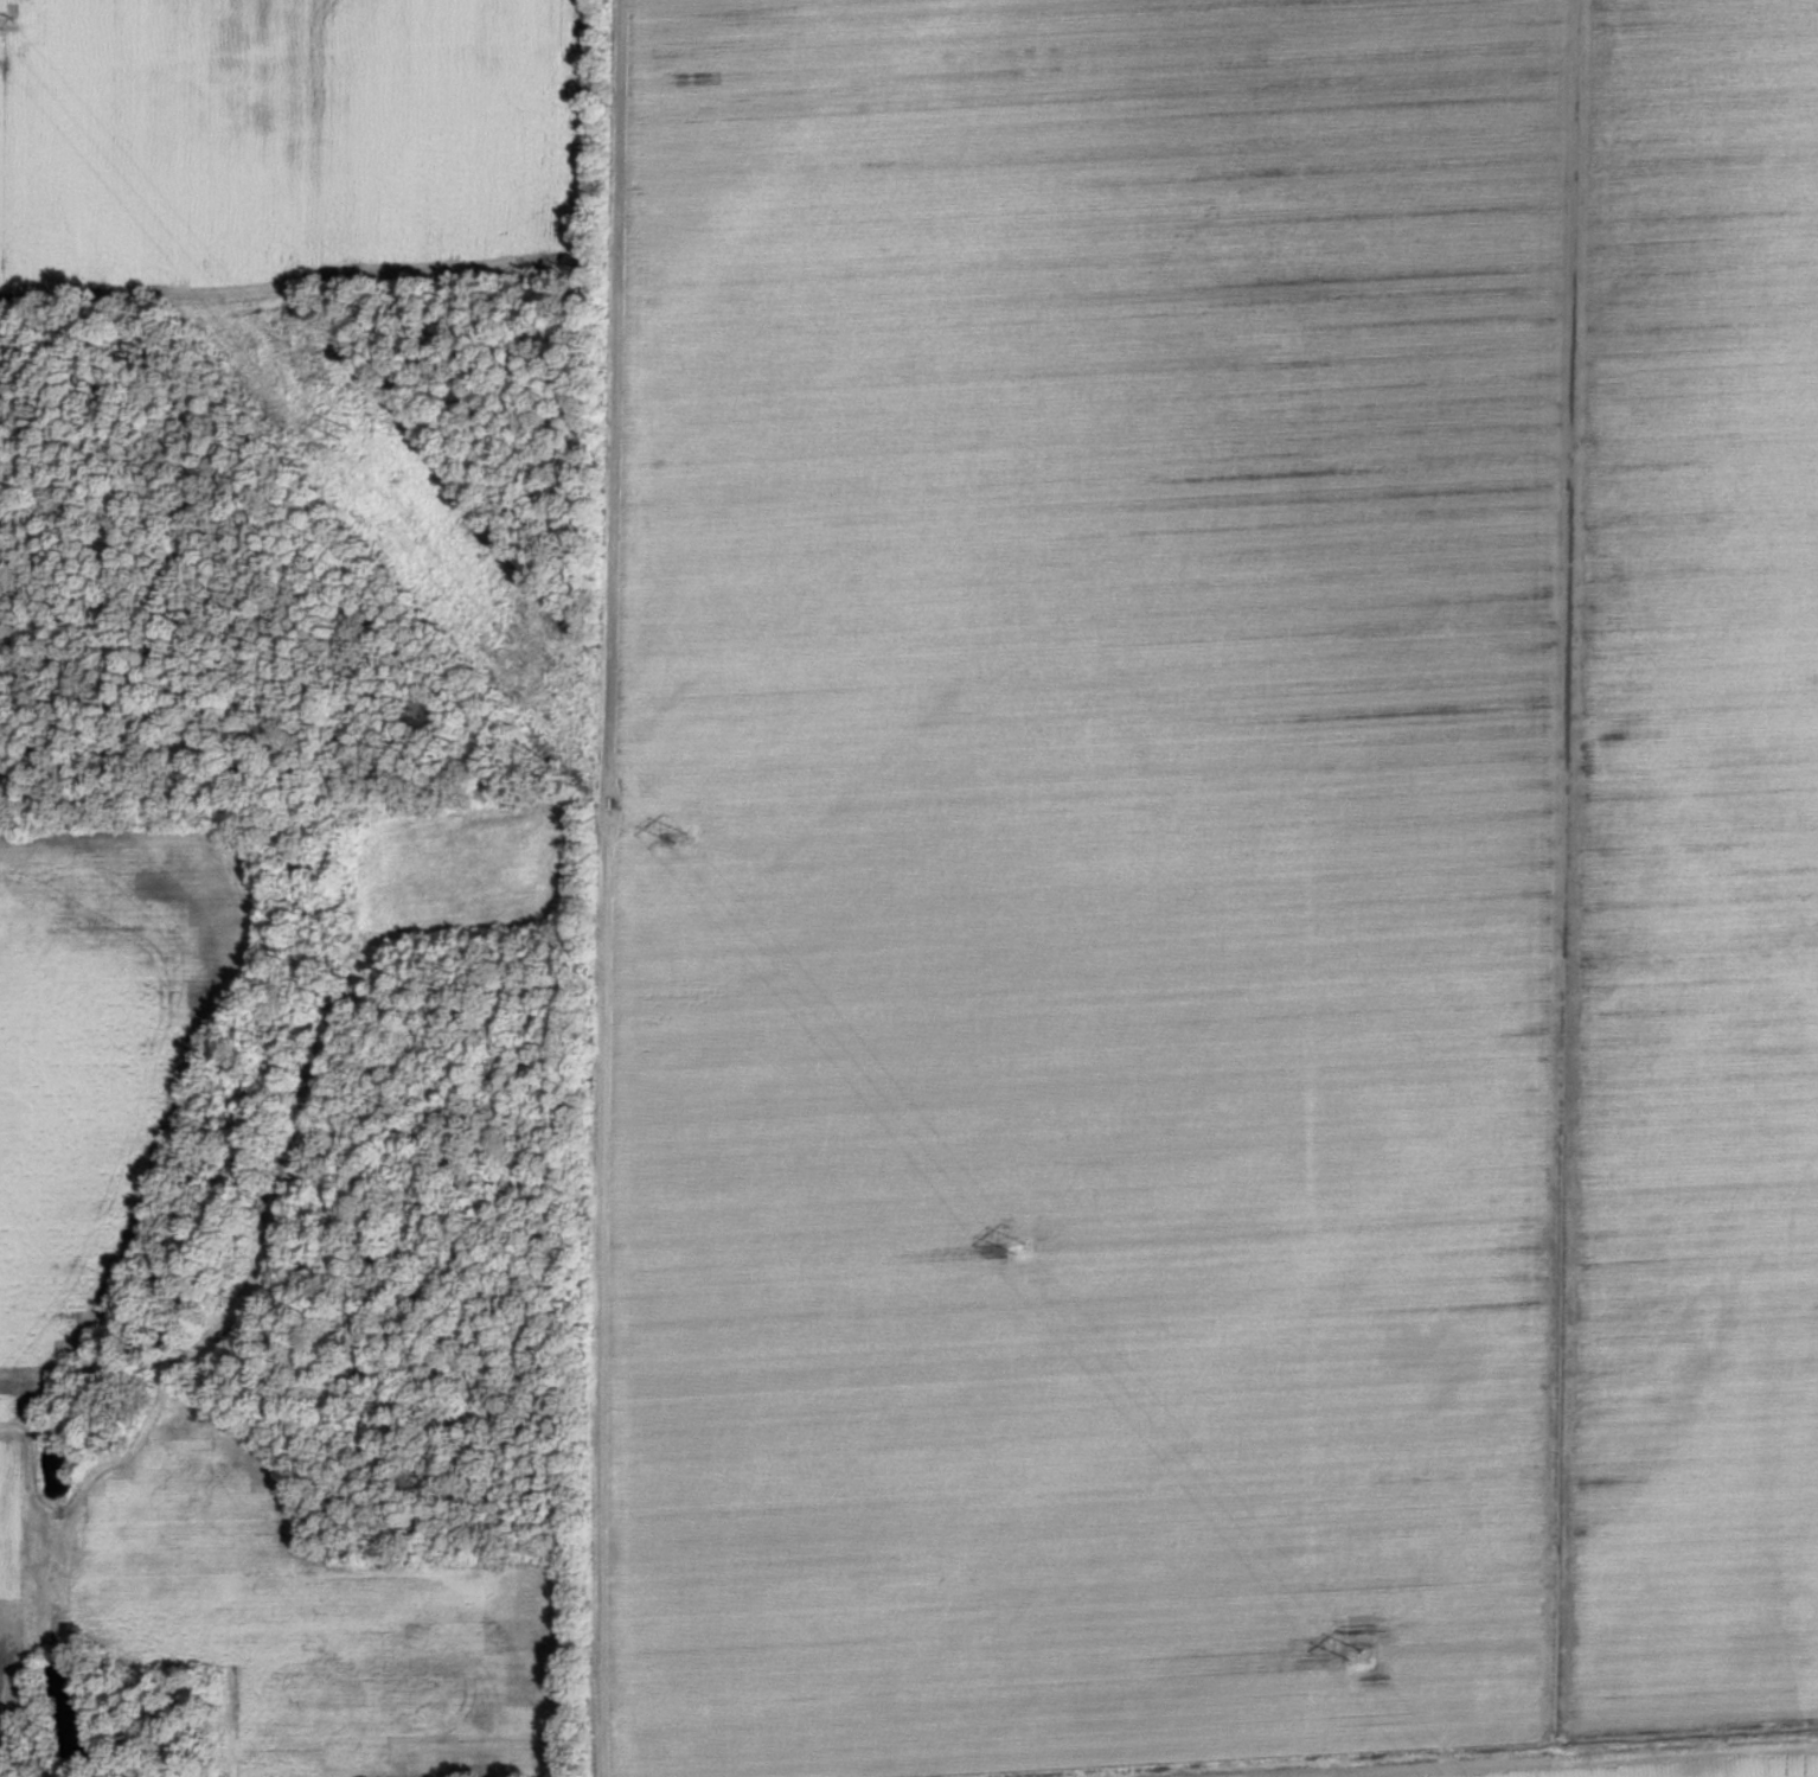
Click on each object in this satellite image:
power tower: (9, 24)
power tower: (345, 434)
power tower: (683, 837)
power tower: (1022, 1248)
power tower: (1357, 1653)

